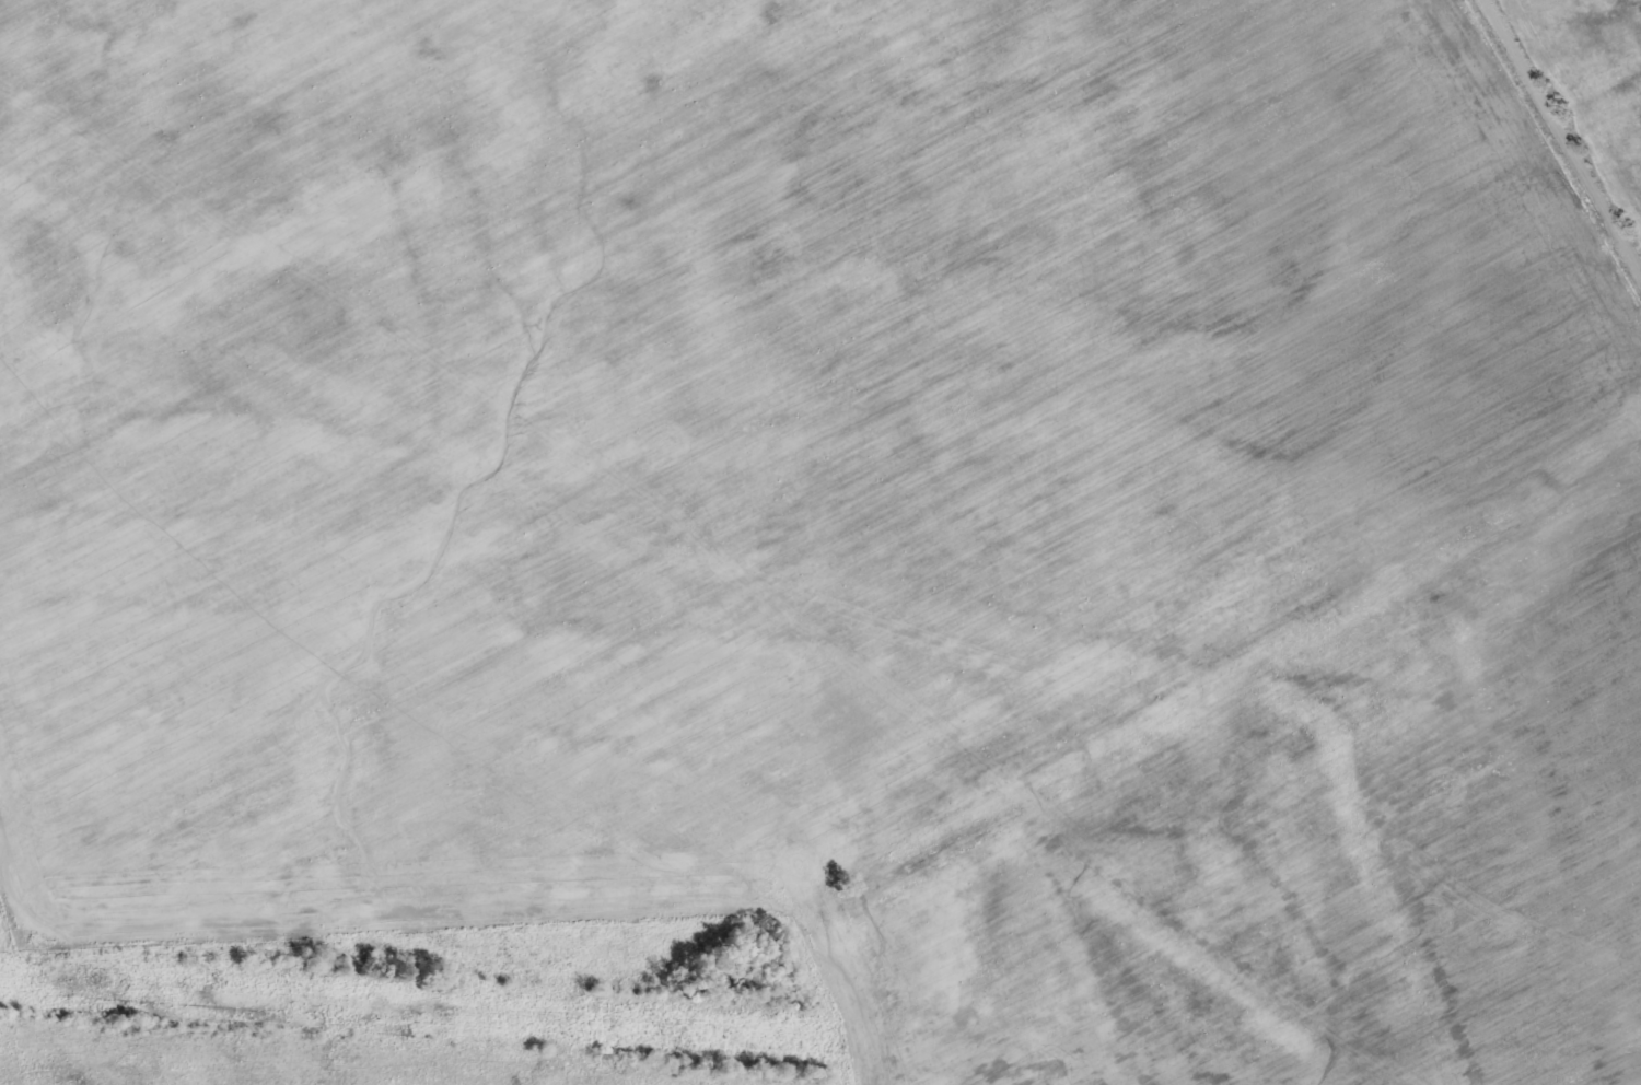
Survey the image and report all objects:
road: (1562, 138)
road: (1178, 722)

